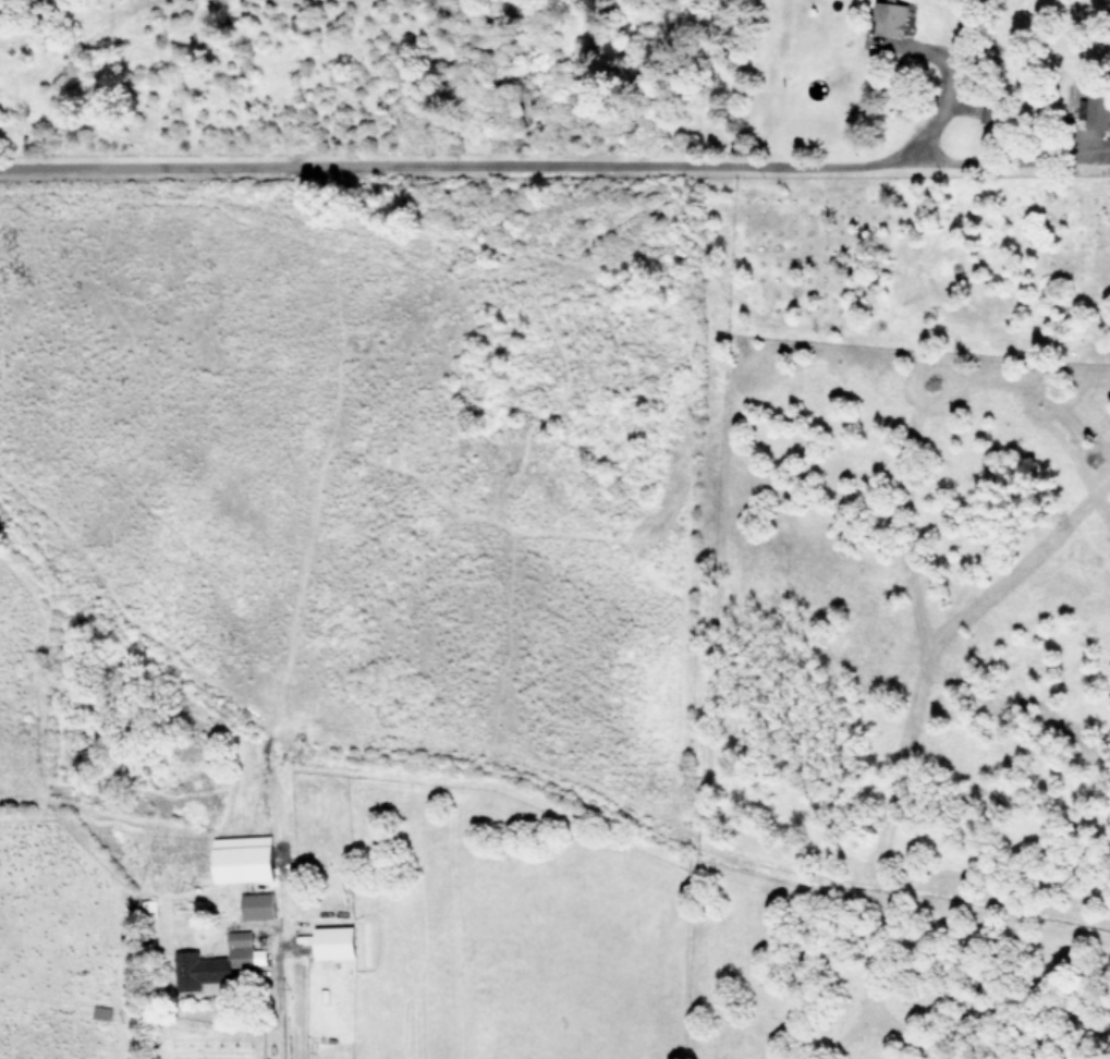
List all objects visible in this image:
building: (890, 17)
road: (947, 98)
building: (1098, 110)
road: (991, 162)
road: (435, 168)
building: (242, 857)
building: (149, 905)
building: (257, 905)
building: (333, 941)
building: (218, 959)
road: (270, 993)

